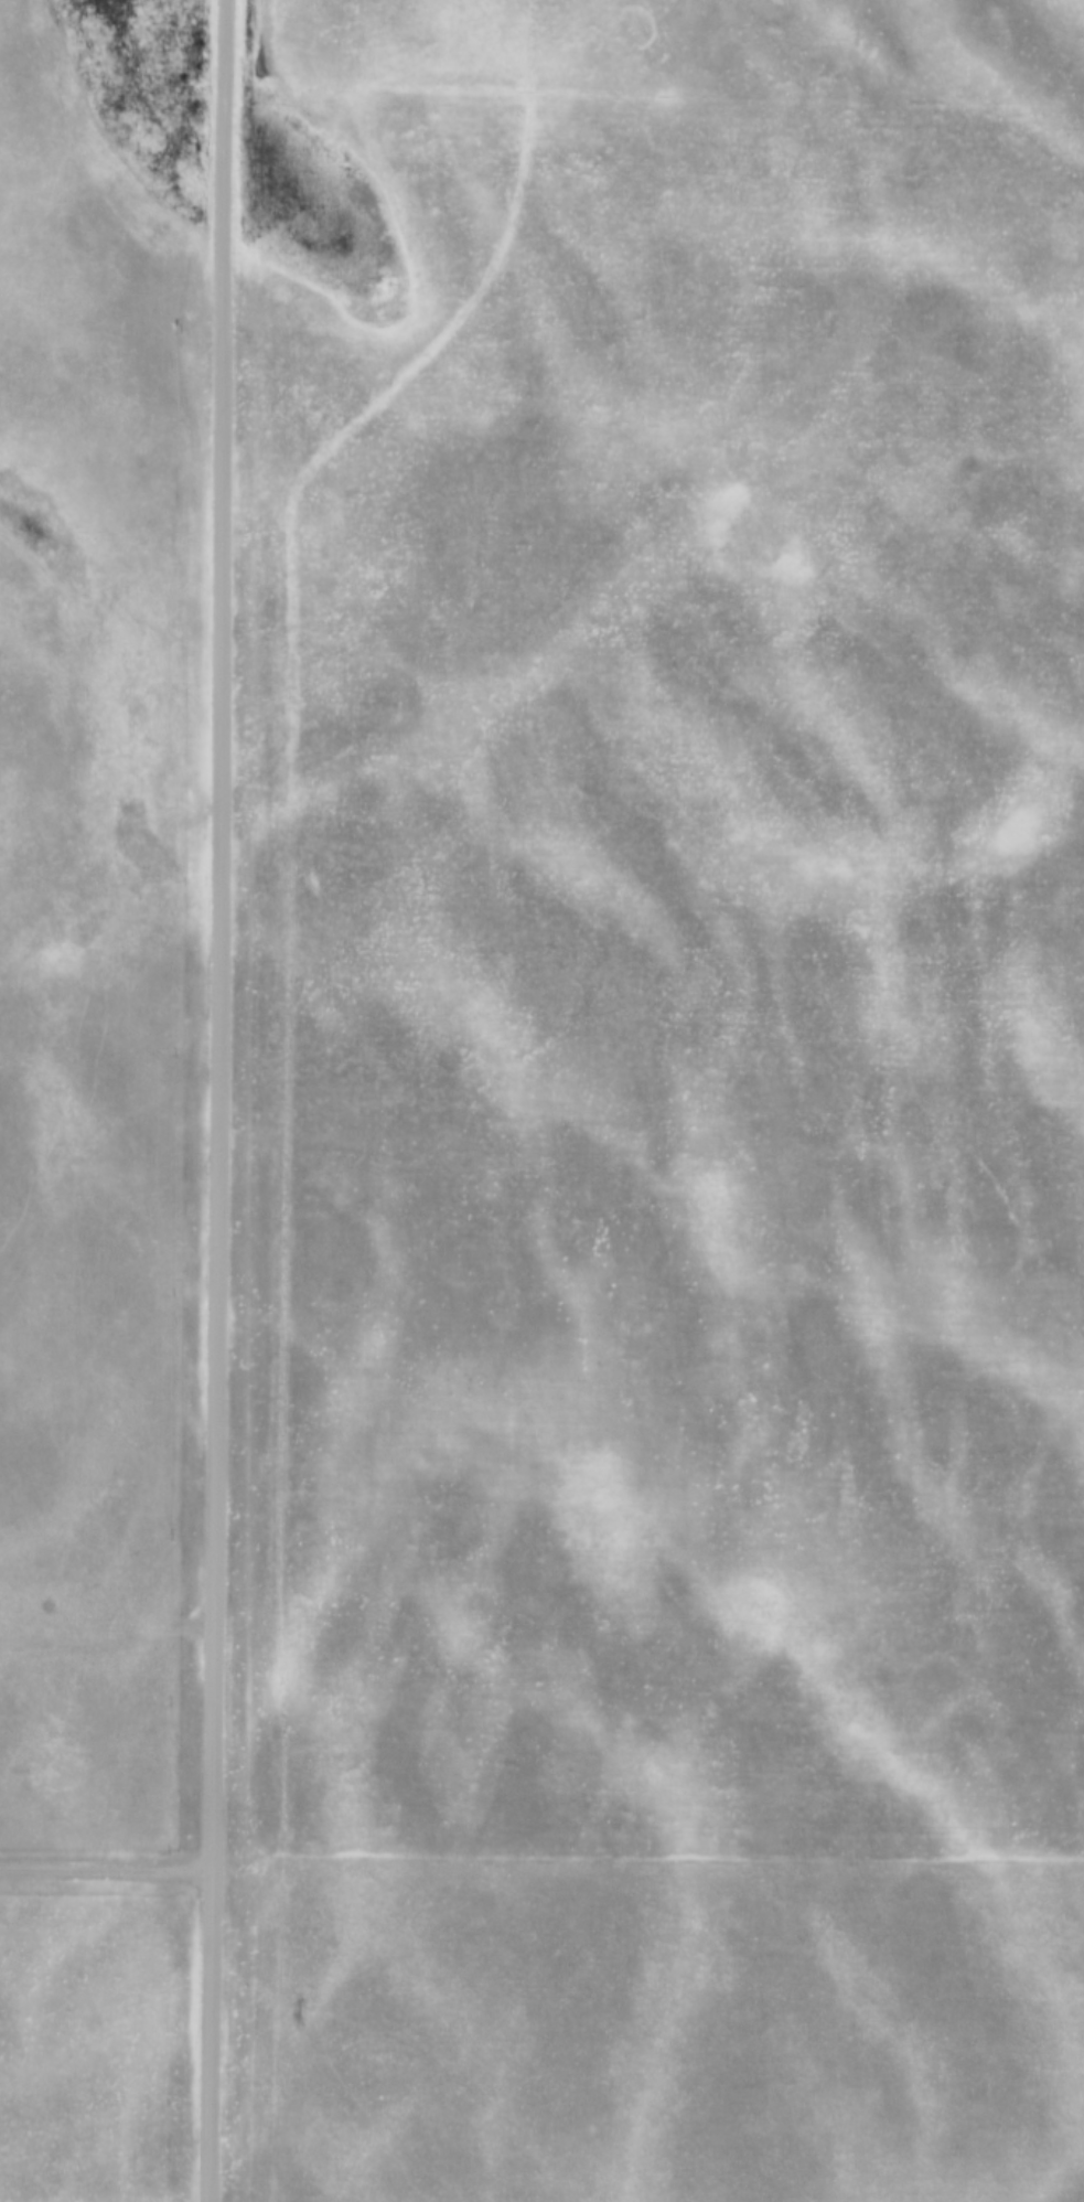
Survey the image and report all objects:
road: (225, 1101)
road: (109, 1874)

